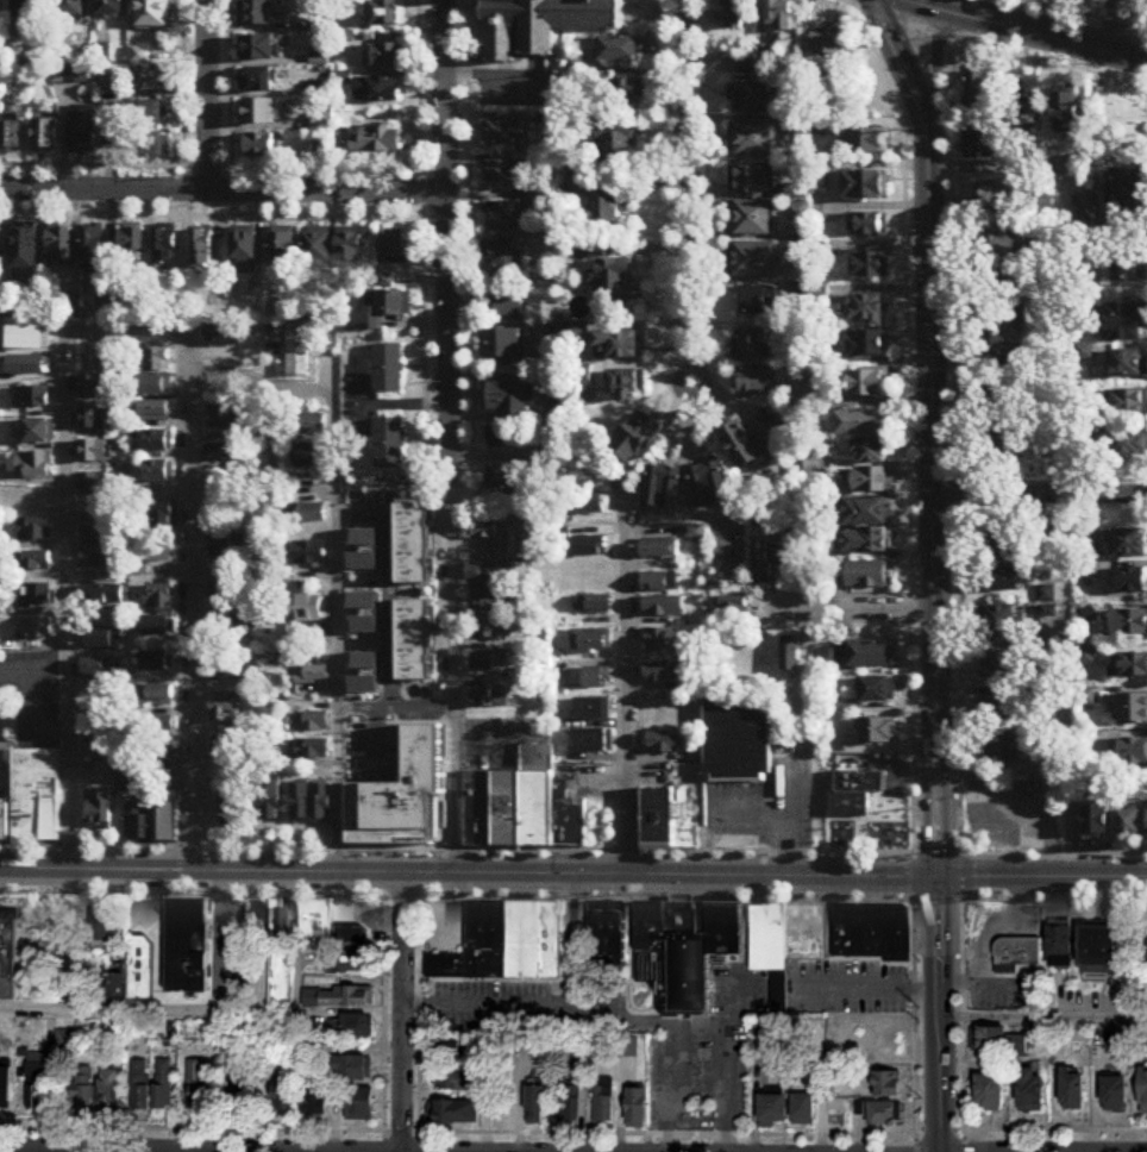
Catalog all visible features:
road: (848, 1)
building: (109, 6)
road: (853, 6)
building: (70, 7)
building: (24, 8)
building: (258, 13)
building: (387, 13)
road: (1090, 13)
building: (152, 14)
building: (739, 14)
building: (782, 15)
building: (544, 24)
road: (1115, 26)
road: (1035, 31)
building: (829, 45)
building: (259, 48)
road: (1001, 48)
building: (619, 50)
building: (139, 55)
building: (386, 56)
building: (149, 79)
building: (258, 80)
road: (935, 82)
building: (107, 86)
building: (378, 90)
building: (980, 94)
road: (208, 96)
building: (621, 98)
building: (751, 100)
building: (1064, 108)
building: (259, 112)
building: (151, 113)
building: (322, 123)
building: (83, 132)
building: (503, 133)
building: (11, 138)
building: (44, 138)
building: (752, 139)
building: (370, 140)
building: (870, 142)
building: (980, 145)
building: (153, 146)
building: (261, 146)
building: (614, 148)
building: (324, 151)
building: (502, 174)
building: (752, 180)
building: (866, 186)
road: (222, 193)
road: (684, 193)
building: (999, 196)
building: (1127, 198)
building: (606, 207)
building: (1088, 215)
building: (798, 217)
building: (504, 218)
building: (750, 219)
building: (870, 226)
building: (132, 244)
building: (0, 246)
building: (61, 246)
building: (165, 246)
building: (1002, 246)
building: (283, 248)
building: (201, 249)
building: (318, 249)
building: (25, 250)
building: (93, 250)
building: (350, 250)
building: (394, 250)
building: (245, 252)
building: (504, 257)
building: (756, 262)
building: (1130, 264)
building: (871, 265)
building: (613, 284)
building: (1002, 284)
building: (821, 300)
building: (759, 303)
building: (107, 305)
building: (509, 305)
building: (387, 311)
building: (866, 311)
building: (1005, 319)
road: (425, 323)
building: (1126, 324)
road: (126, 327)
building: (224, 340)
building: (867, 345)
building: (503, 346)
building: (620, 346)
building: (754, 348)
road: (188, 350)
building: (296, 355)
building: (1002, 359)
building: (158, 361)
building: (1128, 364)
building: (388, 369)
road: (262, 382)
building: (754, 384)
building: (866, 384)
building: (625, 386)
building: (93, 387)
building: (308, 394)
building: (507, 395)
building: (35, 399)
road: (406, 403)
building: (1129, 405)
building: (153, 415)
building: (95, 419)
building: (221, 421)
building: (309, 424)
building: (861, 425)
building: (38, 433)
road: (933, 434)
road: (450, 437)
building: (506, 438)
building: (634, 438)
building: (157, 442)
building: (389, 443)
building: (1005, 443)
building: (1052, 443)
building: (1123, 445)
building: (747, 450)
building: (93, 452)
building: (308, 452)
building: (871, 452)
building: (224, 455)
road: (1064, 456)
building: (33, 465)
building: (806, 471)
building: (157, 472)
building: (504, 477)
building: (869, 482)
building: (95, 486)
building: (709, 486)
building: (664, 488)
road: (67, 490)
road: (1041, 496)
building: (584, 505)
building: (312, 513)
building: (867, 513)
building: (159, 518)
building: (99, 521)
building: (35, 531)
building: (487, 531)
building: (309, 540)
building: (413, 543)
building: (865, 543)
building: (1129, 544)
building: (1051, 545)
building: (1004, 546)
building: (226, 547)
building: (659, 550)
building: (1091, 550)
building: (157, 555)
building: (789, 555)
building: (102, 556)
building: (37, 562)
building: (760, 563)
building: (489, 572)
building: (865, 576)
building: (1003, 581)
building: (1133, 581)
building: (658, 582)
building: (222, 589)
building: (40, 595)
building: (104, 596)
building: (161, 599)
building: (488, 600)
building: (594, 607)
building: (307, 609)
building: (739, 611)
road: (853, 611)
road: (192, 621)
building: (1001, 624)
building: (1129, 624)
building: (37, 628)
building: (231, 630)
road: (339, 631)
building: (489, 631)
building: (414, 639)
building: (659, 641)
building: (590, 643)
building: (871, 656)
building: (790, 657)
building: (490, 662)
building: (1133, 666)
building: (998, 668)
building: (230, 671)
building: (660, 672)
building: (99, 675)
building: (312, 677)
building: (596, 680)
building: (276, 683)
building: (387, 685)
building: (878, 691)
building: (156, 697)
building: (490, 699)
road: (628, 709)
building: (593, 710)
building: (1005, 710)
building: (1133, 710)
building: (225, 713)
building: (312, 721)
building: (163, 728)
building: (879, 733)
building: (98, 734)
building: (593, 743)
building: (738, 743)
building: (665, 744)
building: (1003, 749)
building: (230, 750)
building: (309, 751)
building: (1133, 753)
road: (71, 762)
building: (155, 762)
building: (129, 785)
building: (171, 788)
building: (36, 797)
building: (234, 802)
building: (271, 803)
building: (300, 806)
building: (322, 806)
building: (850, 807)
building: (522, 808)
building: (99, 810)
road: (1020, 810)
building: (669, 818)
road: (782, 819)
building: (5, 821)
building: (169, 822)
building: (138, 824)
building: (1128, 825)
building: (1096, 826)
road: (939, 857)
road: (469, 875)
road: (916, 877)
road: (960, 877)
traffic signals: (939, 879)
road: (1042, 879)
road: (405, 896)
road: (914, 899)
road: (938, 899)
road: (960, 901)
building: (282, 922)
building: (100, 924)
building: (726, 929)
building: (872, 931)
road: (576, 934)
building: (336, 939)
building: (608, 940)
building: (785, 941)
building: (504, 944)
building: (188, 945)
building: (1059, 945)
building: (1143, 947)
building: (653, 948)
building: (1098, 950)
building: (1017, 951)
building: (8, 954)
building: (688, 957)
building: (140, 965)
road: (866, 983)
building: (115, 985)
building: (262, 991)
building: (338, 996)
road: (487, 1001)
road: (386, 1009)
road: (403, 1013)
road: (616, 1013)
road: (961, 1014)
road: (419, 1015)
road: (940, 1015)
road: (1043, 1015)
road: (914, 1016)
road: (695, 1023)
building: (355, 1025)
building: (1039, 1035)
building: (989, 1039)
building: (351, 1069)
building: (455, 1079)
building: (142, 1083)
building: (163, 1083)
building: (200, 1083)
building: (886, 1083)
building: (37, 1085)
building: (5, 1089)
building: (83, 1089)
building: (1030, 1089)
building: (1072, 1089)
building: (1142, 1089)
building: (111, 1090)
building: (989, 1091)
building: (239, 1092)
building: (283, 1094)
building: (1114, 1094)
building: (315, 1103)
building: (359, 1103)
building: (535, 1104)
building: (569, 1104)
building: (603, 1104)
building: (635, 1107)
building: (803, 1108)
building: (772, 1109)
building: (457, 1112)
building: (879, 1112)
road: (939, 1123)
road: (1055, 1126)
road: (401, 1128)
road: (964, 1139)
road: (916, 1142)
road: (65, 1151)

